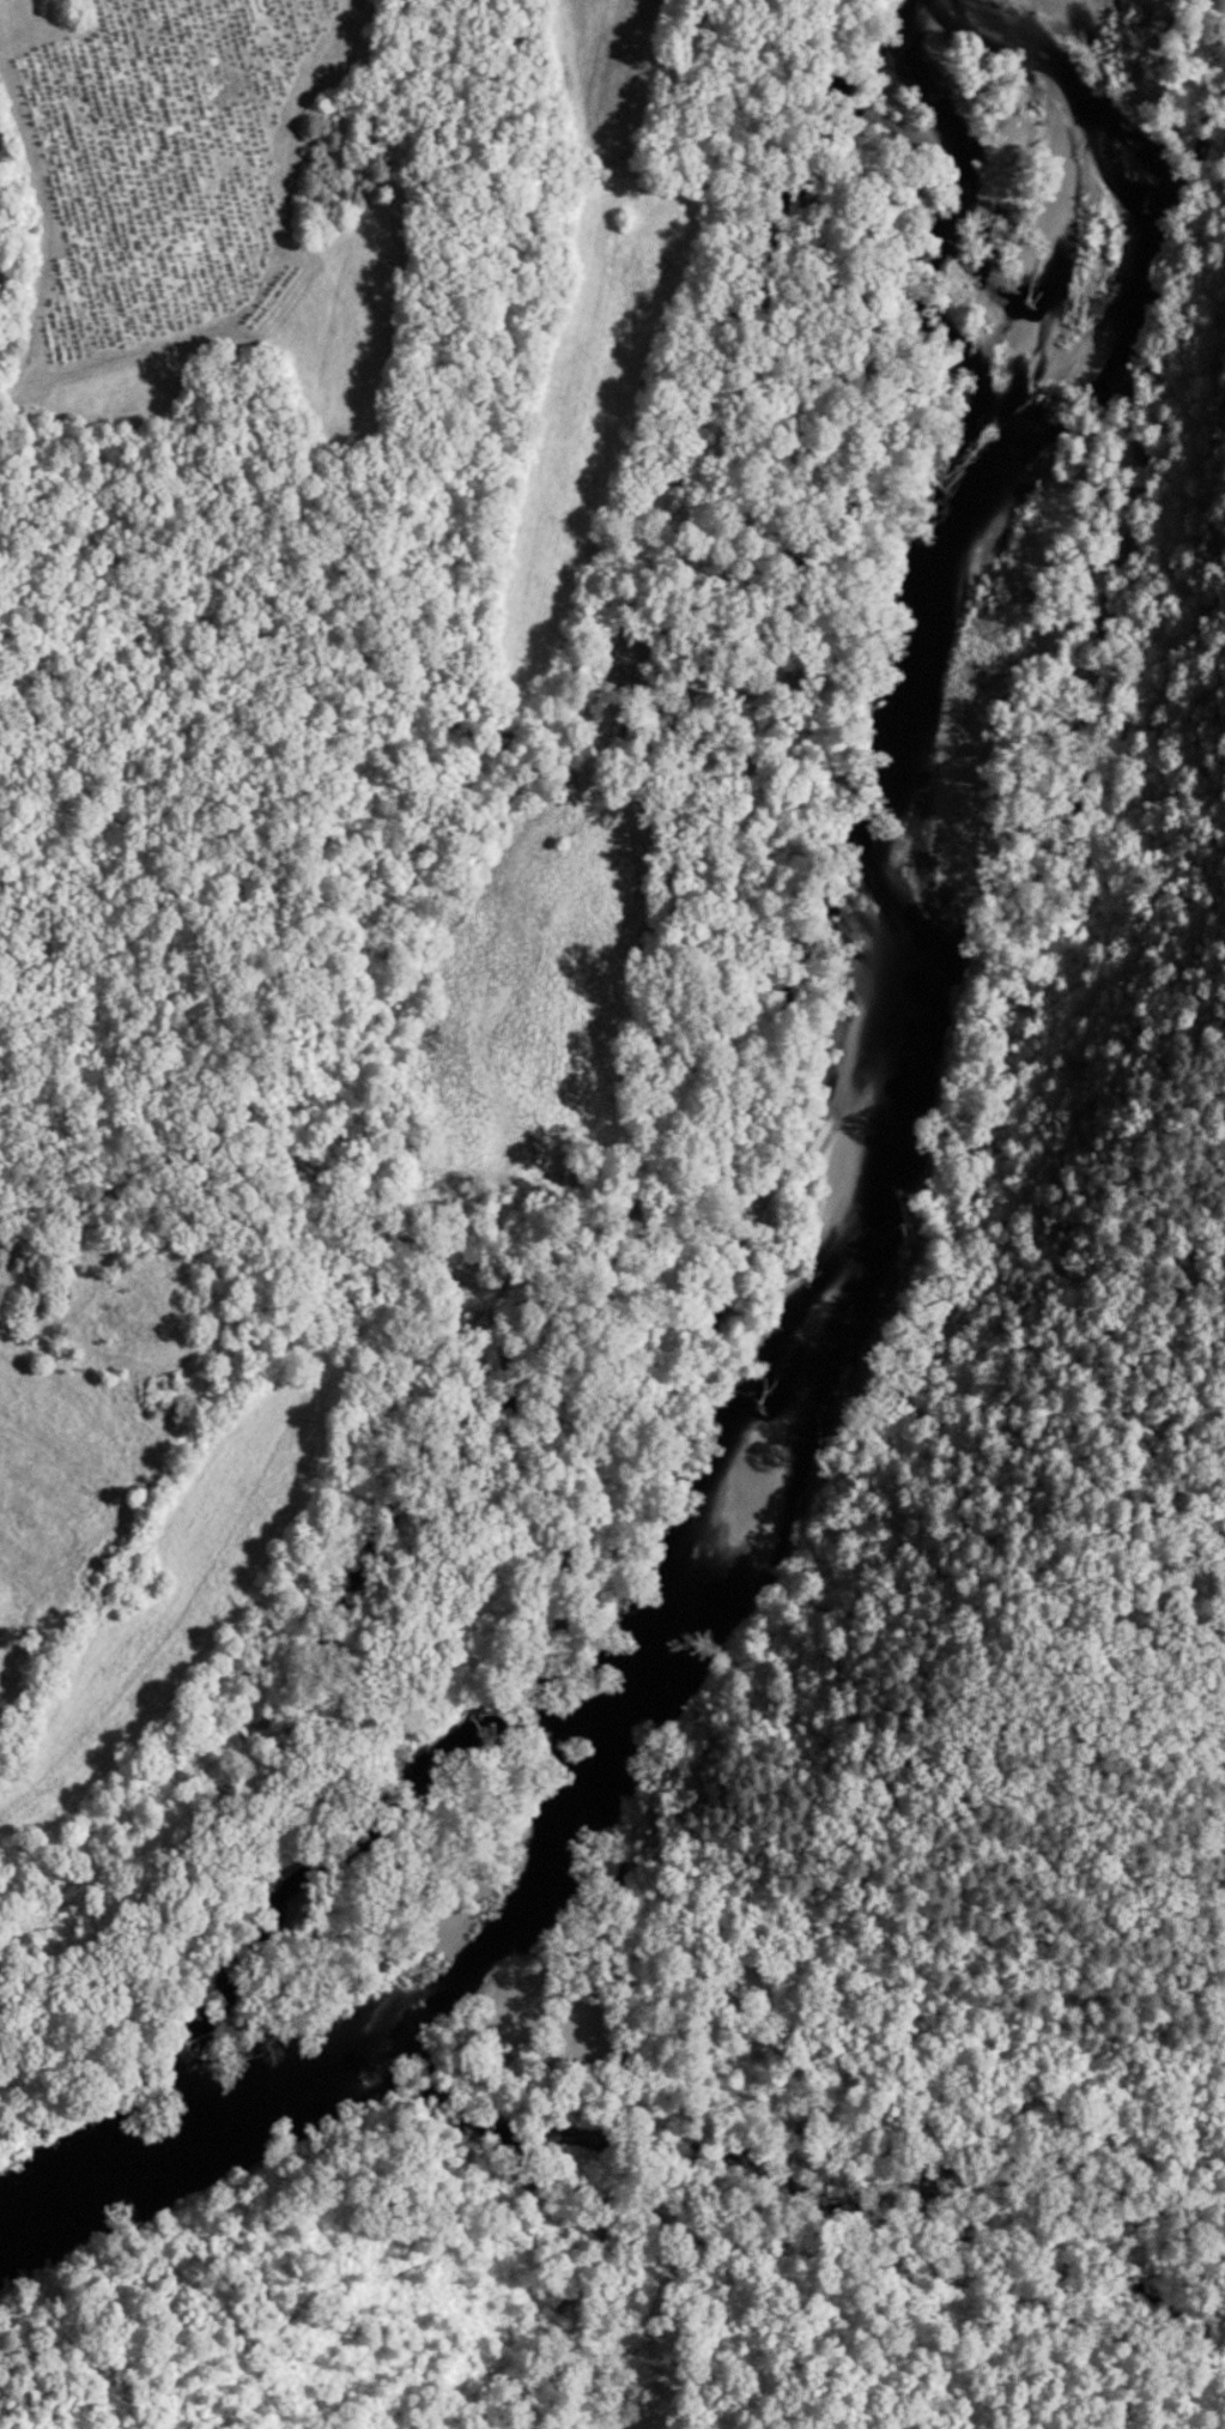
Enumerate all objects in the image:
river: (866, 1216)
road: (342, 1322)
road: (1219, 2365)

